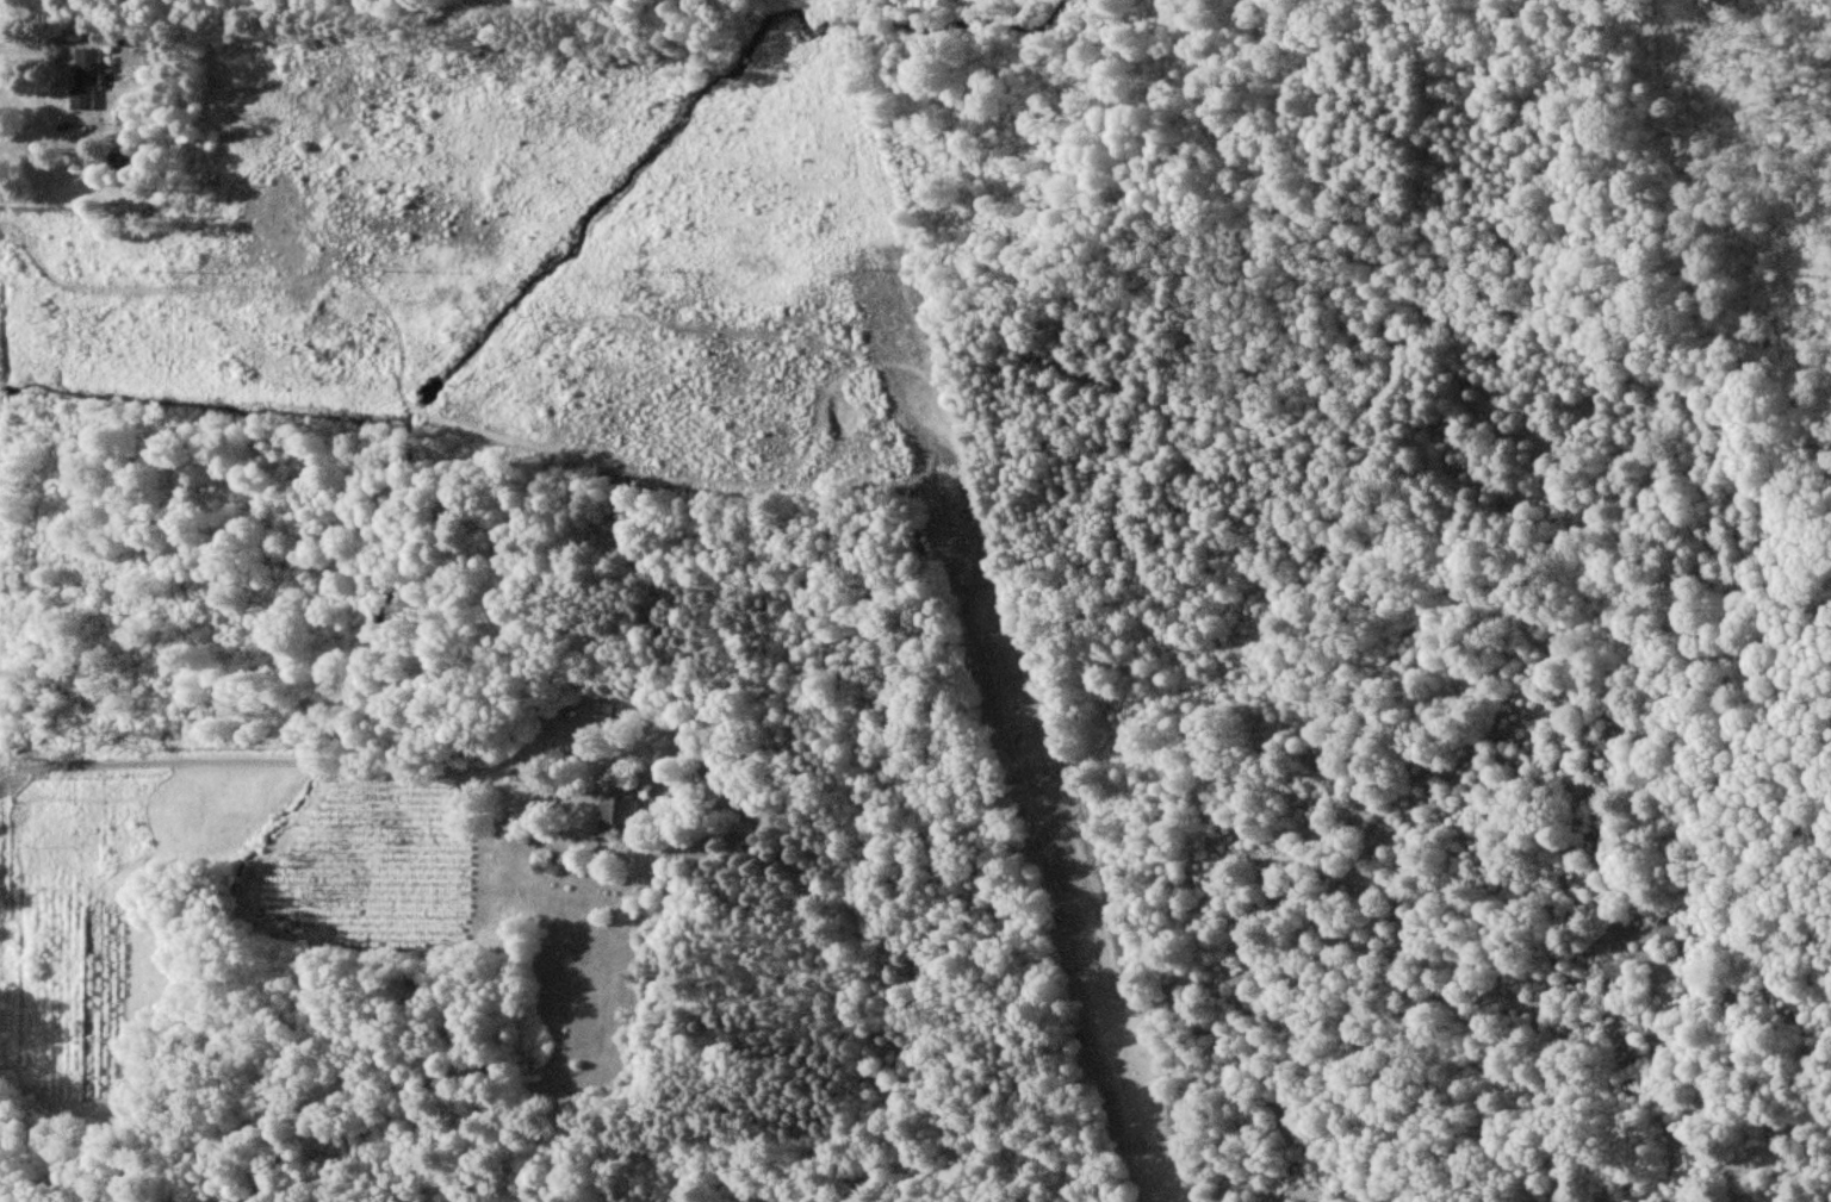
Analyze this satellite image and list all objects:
building: (87, 79)
road: (362, 768)
building: (615, 814)
building: (741, 833)

